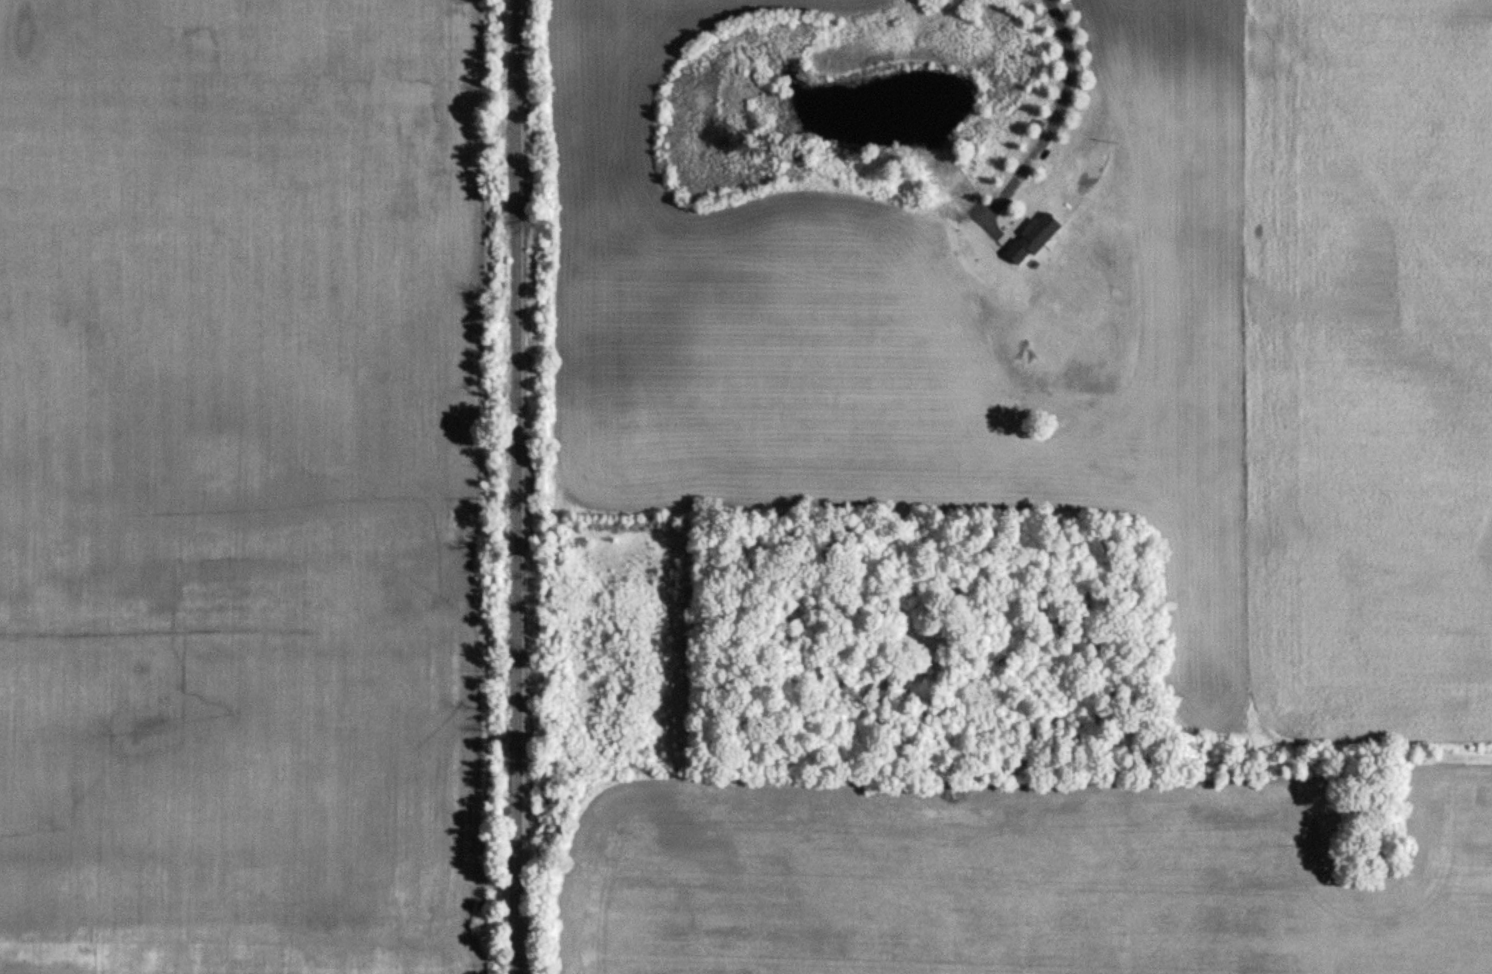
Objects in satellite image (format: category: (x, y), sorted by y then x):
railway: (516, 487)

